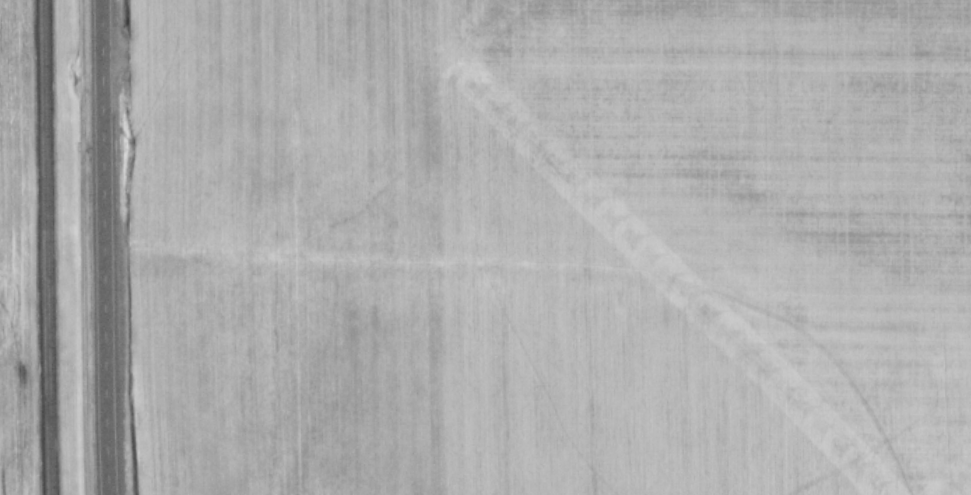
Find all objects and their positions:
crop: (539, 246)
road: (43, 247)
road: (102, 247)
airport: (229, 247)
crop: (21, 257)

